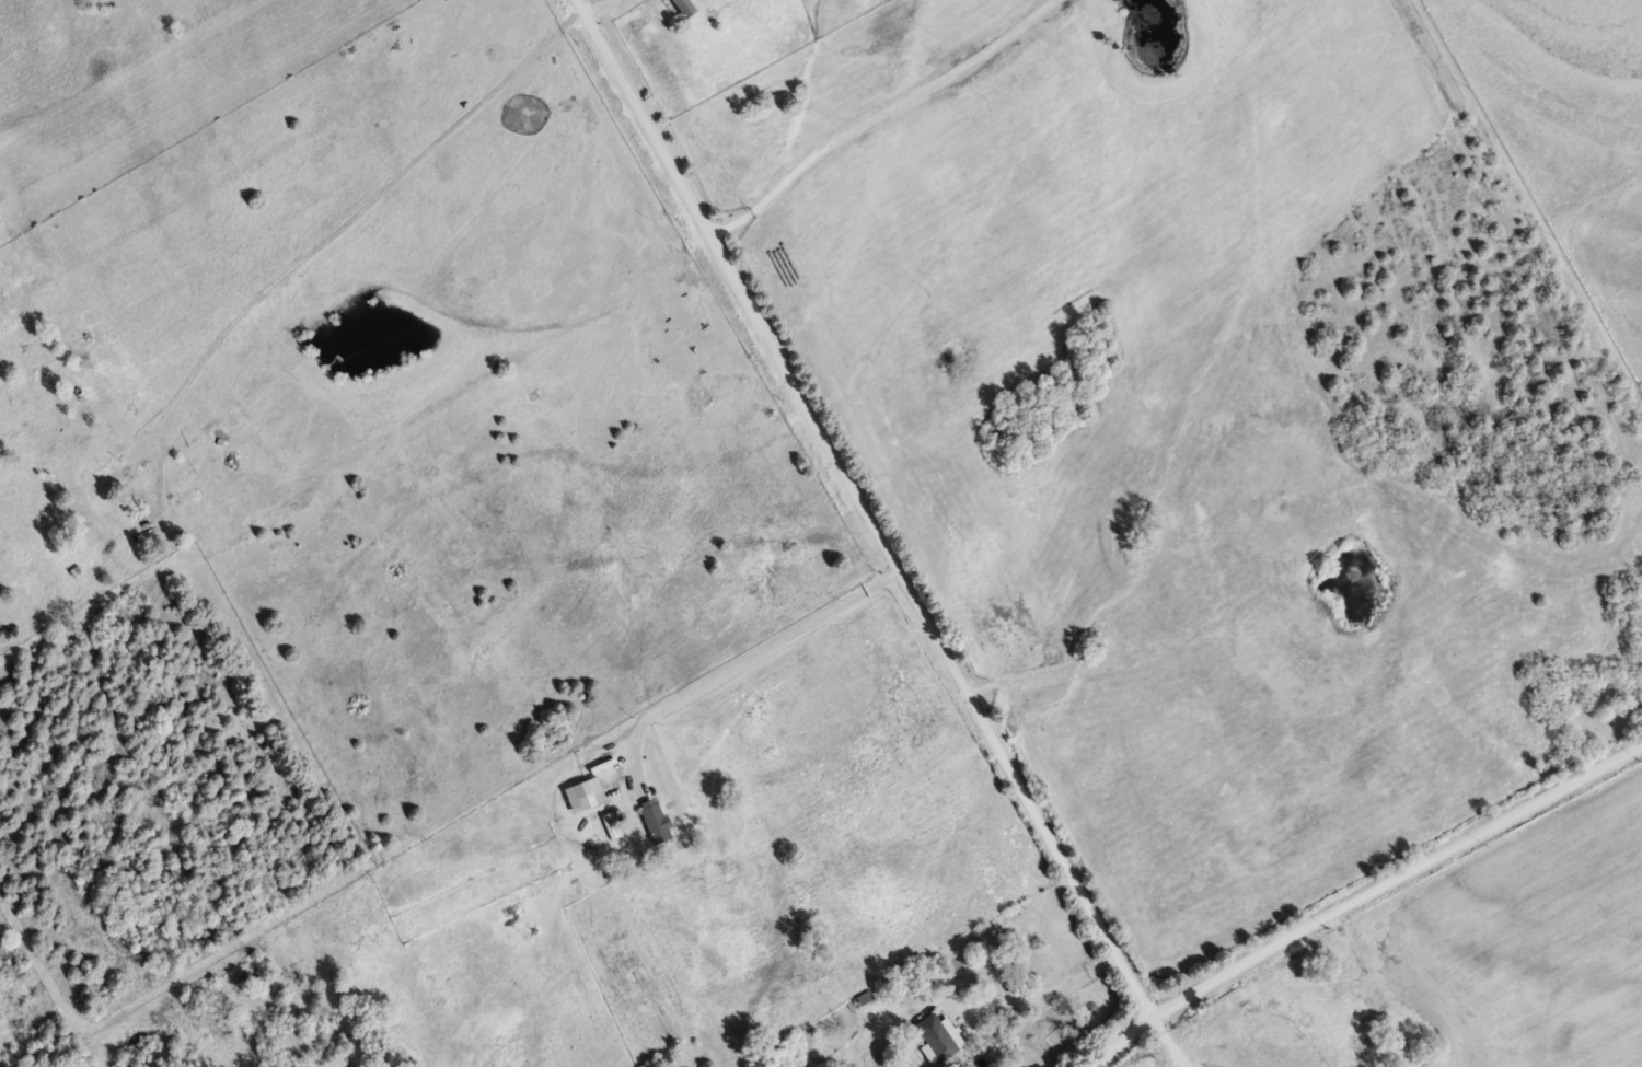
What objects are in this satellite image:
building: (679, 5)
road: (595, 7)
road: (864, 508)
building: (104, 517)
building: (650, 821)
road: (1395, 874)
road: (1031, 991)
building: (932, 1032)
road: (1118, 1039)

